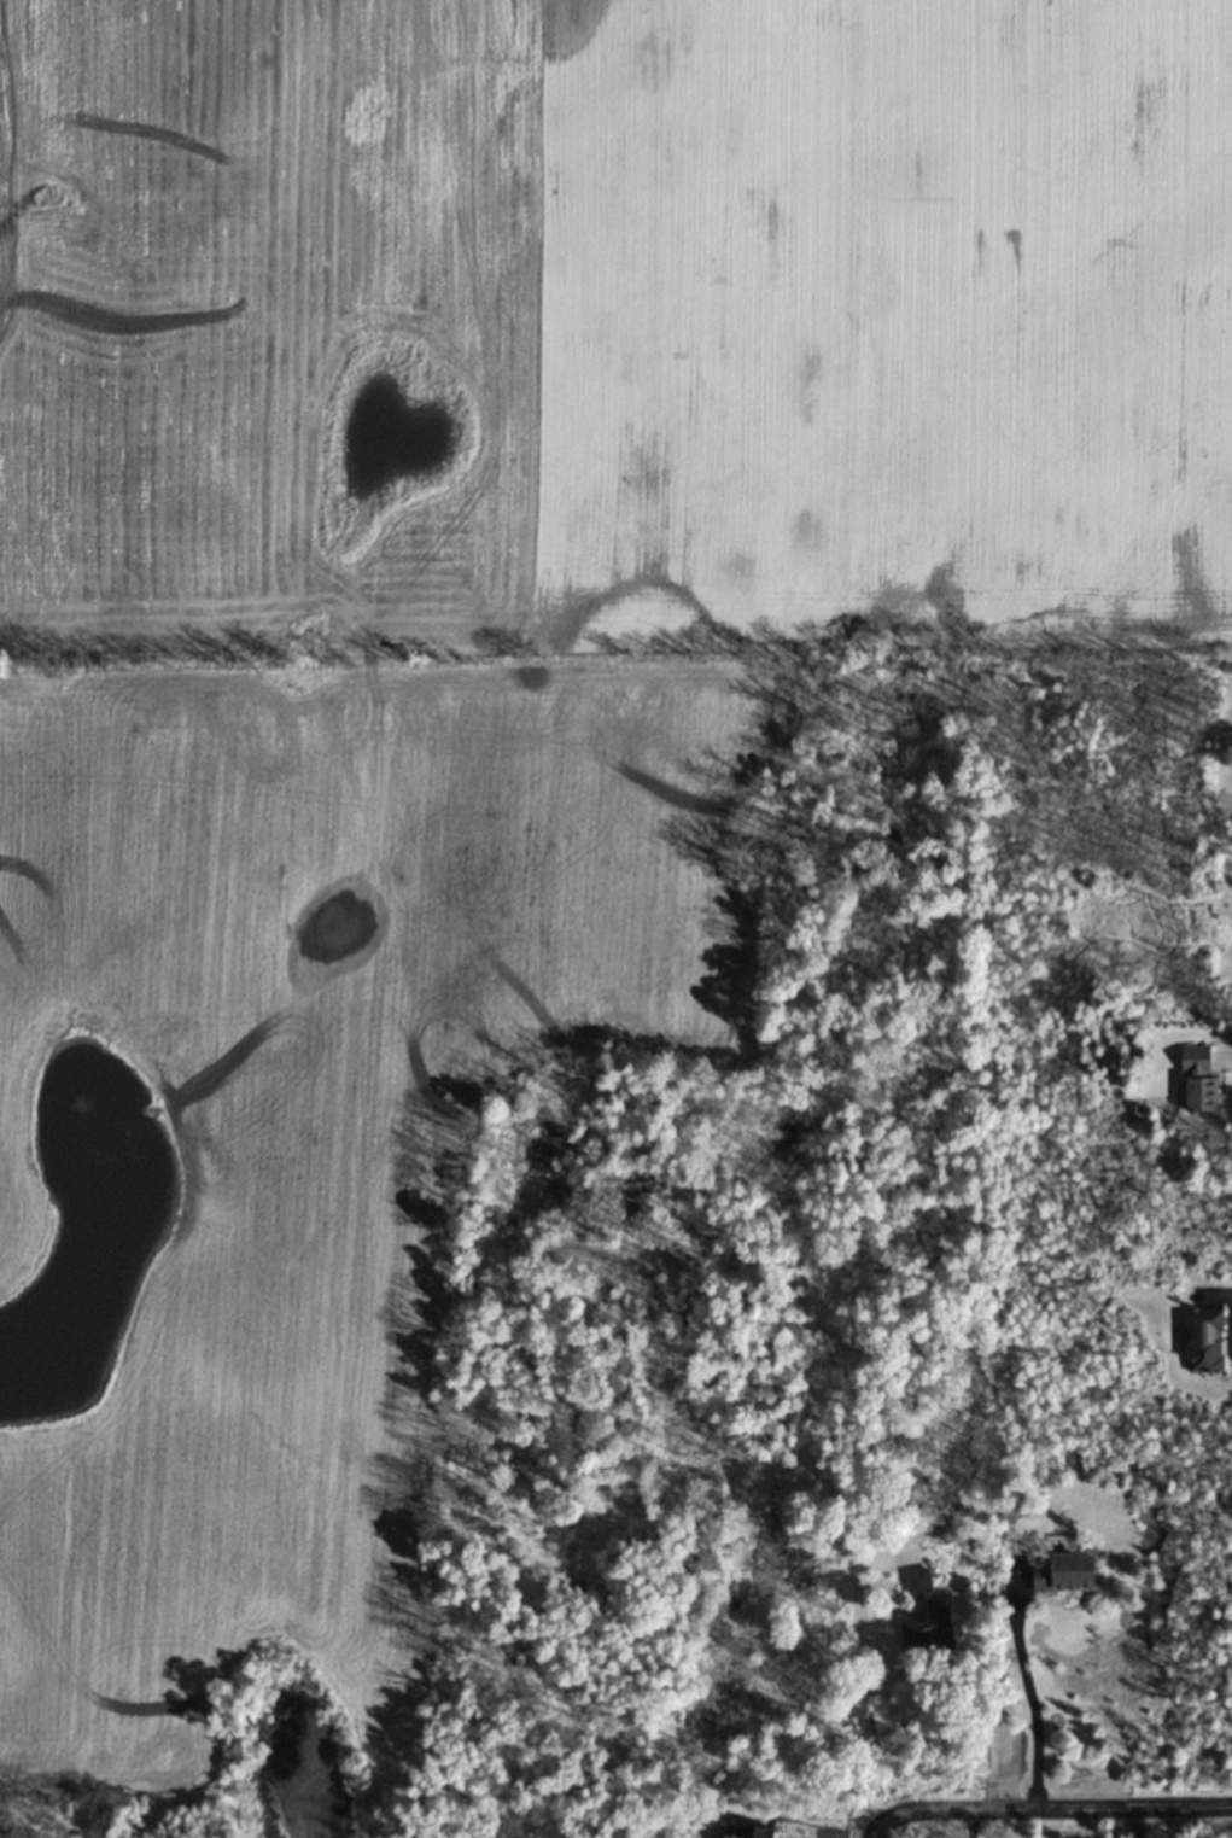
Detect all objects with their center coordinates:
crop: (472, 684)
building: (1198, 1079)
building: (1205, 1341)
building: (1064, 1571)
building: (923, 1615)
road: (854, 1679)
road: (1029, 1700)
road: (1046, 1809)
park: (25, 1815)
road: (1134, 1822)
road: (1085, 1824)

